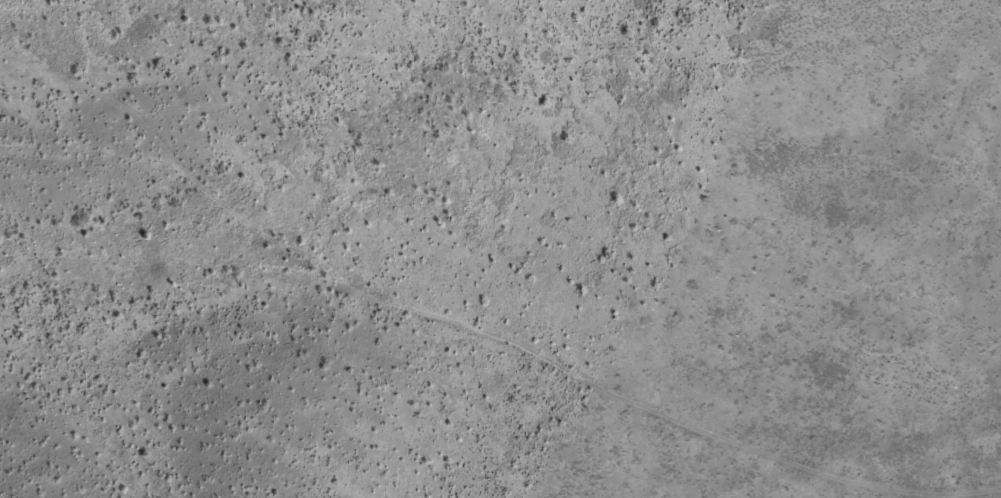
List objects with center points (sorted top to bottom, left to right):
road: (449, 306)

